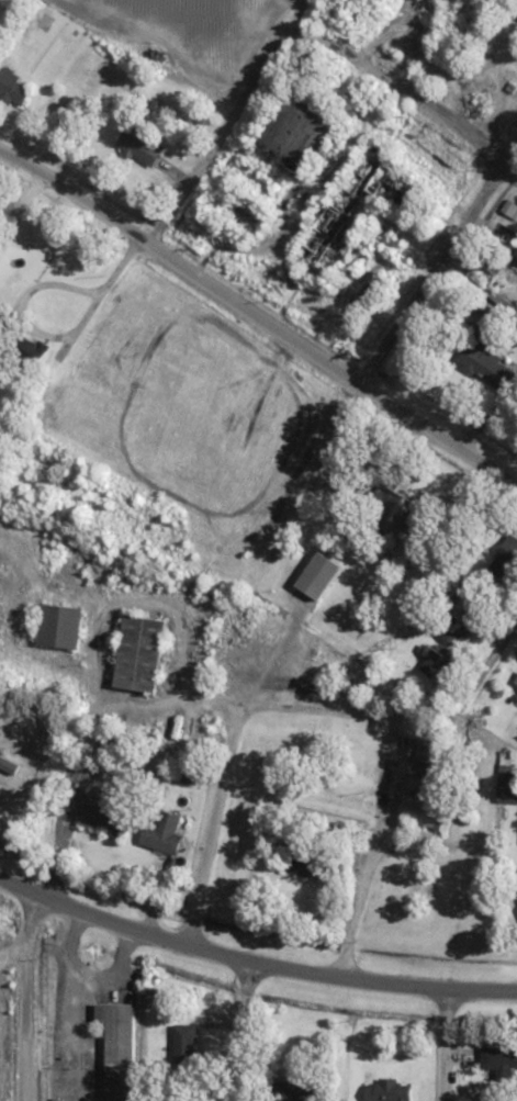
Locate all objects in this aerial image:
building: (13, 89)
road: (404, 96)
road: (228, 122)
building: (299, 133)
building: (141, 146)
building: (516, 254)
road: (438, 259)
road: (124, 267)
road: (258, 313)
road: (49, 337)
building: (33, 353)
building: (486, 366)
building: (393, 502)
building: (507, 559)
building: (61, 626)
building: (450, 628)
building: (141, 652)
building: (434, 660)
road: (469, 695)
road: (263, 704)
building: (507, 787)
building: (102, 810)
building: (425, 810)
road: (207, 823)
building: (162, 834)
building: (306, 863)
road: (366, 864)
road: (252, 962)
road: (21, 998)
road: (241, 1031)
building: (184, 1043)
road: (443, 1044)
building: (119, 1046)
building: (498, 1059)
building: (296, 1090)
building: (386, 1090)

